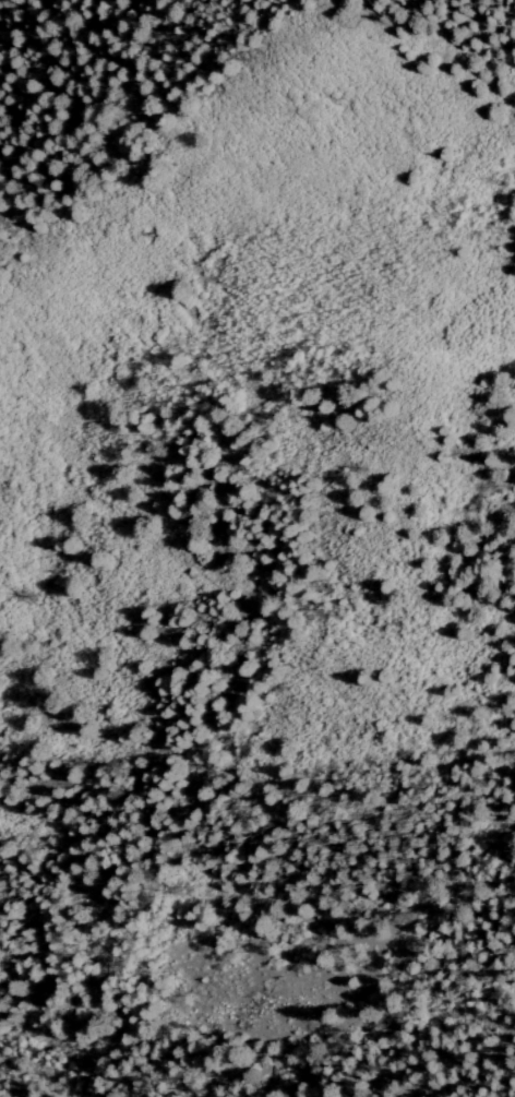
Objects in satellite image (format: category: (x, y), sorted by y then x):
road: (492, 1096)

